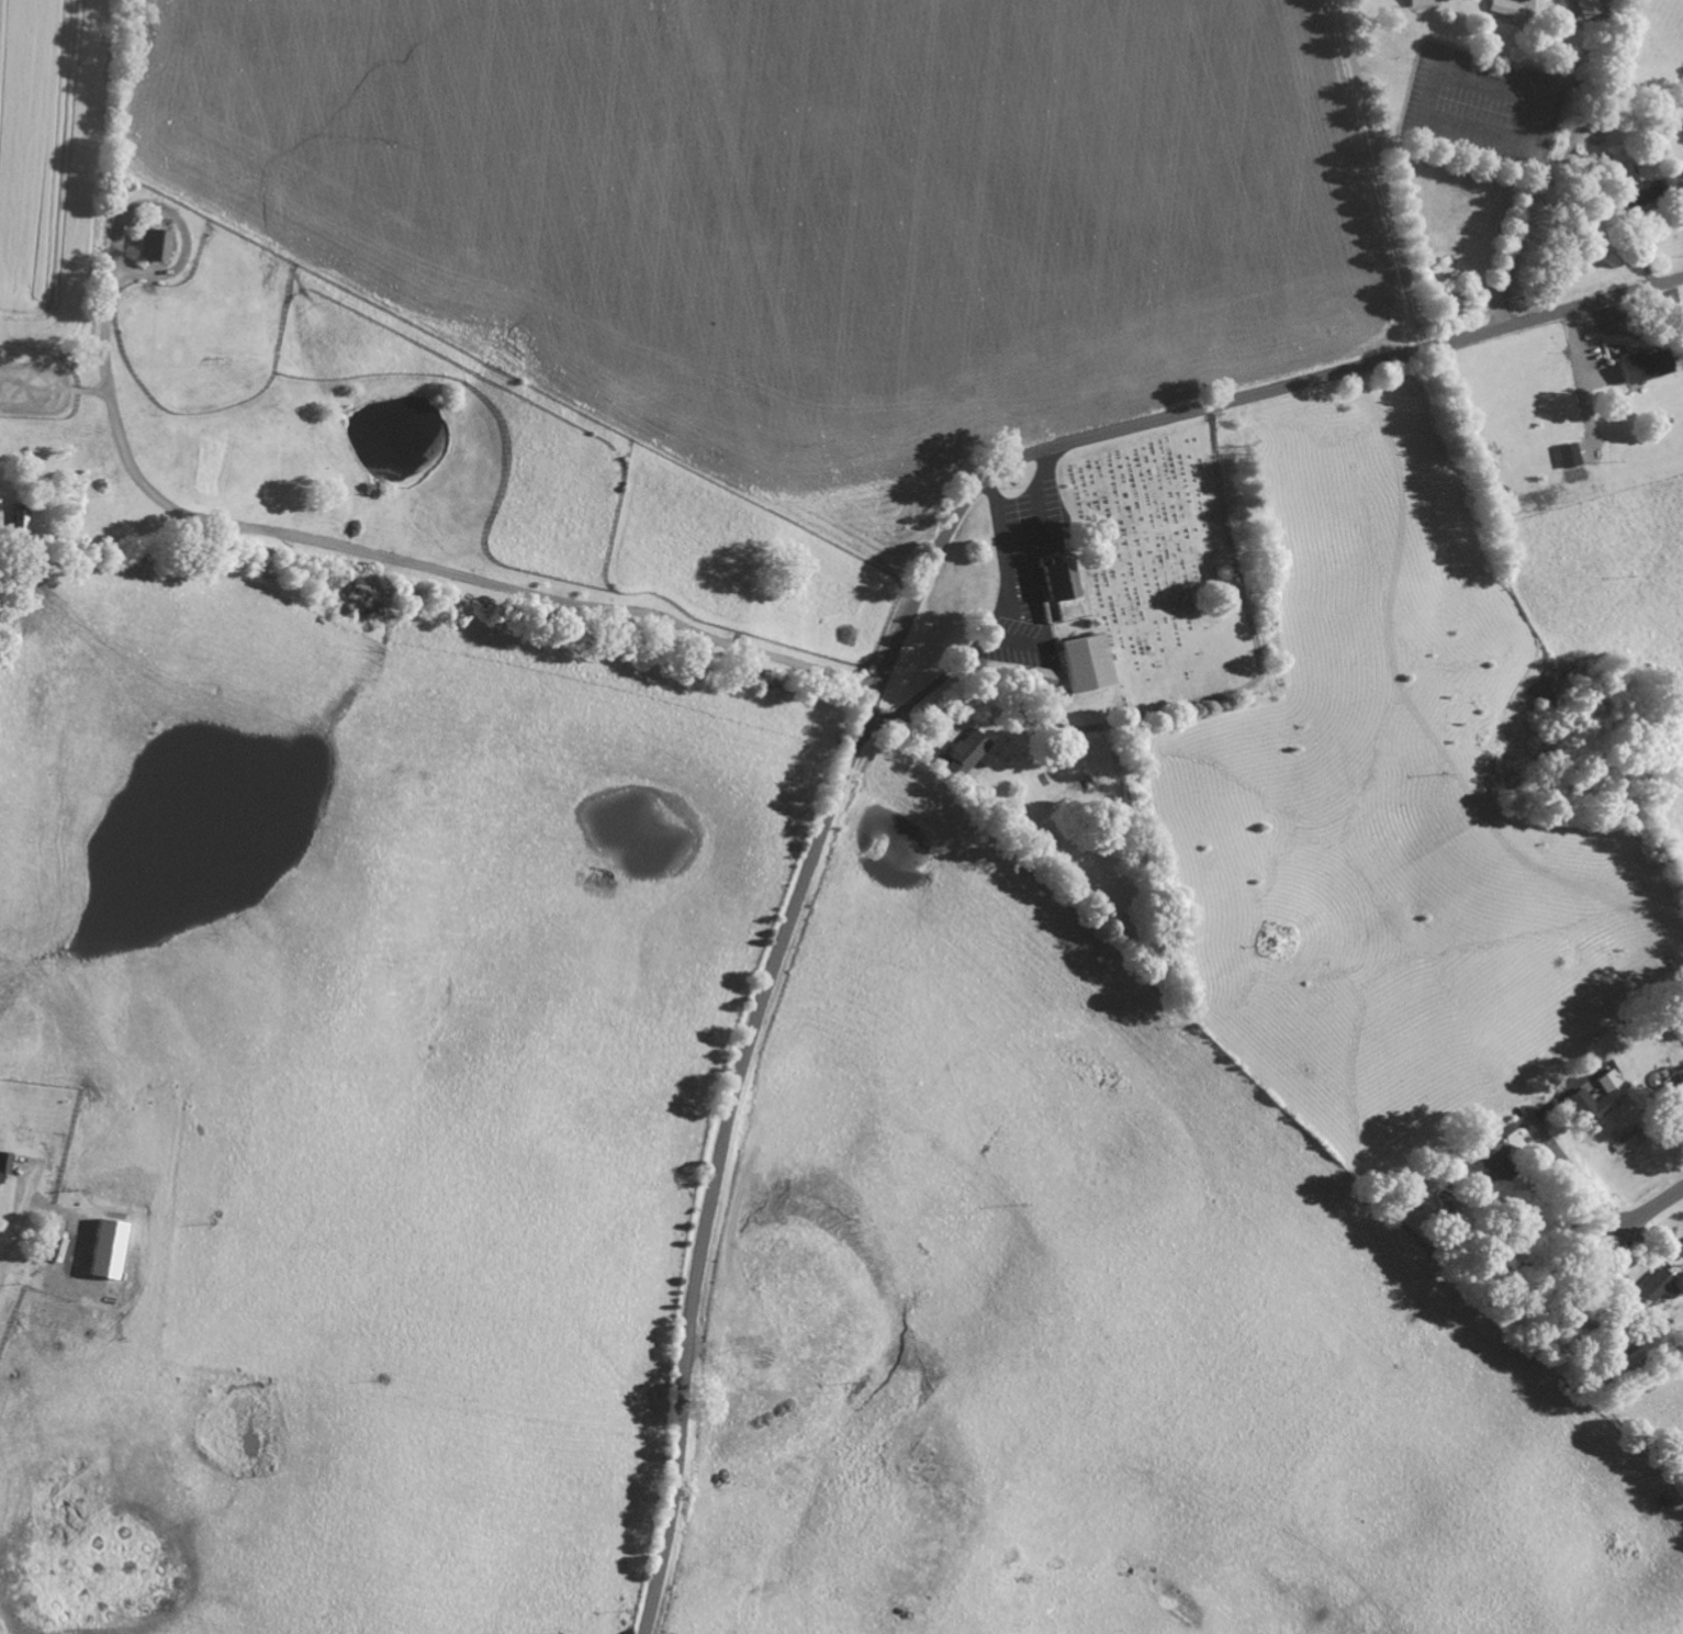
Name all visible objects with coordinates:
building: (1418, 2)
building: (1501, 8)
road: (1447, 128)
road: (1388, 172)
building: (1626, 188)
building: (146, 244)
building: (1636, 366)
building: (1563, 455)
road: (1037, 494)
building: (19, 516)
road: (284, 531)
park: (1158, 567)
road: (1001, 631)
building: (1079, 661)
building: (1039, 675)
road: (875, 695)
building: (961, 751)
building: (1603, 1079)
building: (1579, 1105)
building: (1679, 1115)
building: (1484, 1155)
building: (1, 1161)
road: (1575, 1179)
road: (1653, 1212)
building: (1682, 1240)
building: (102, 1247)
building: (1652, 1289)

